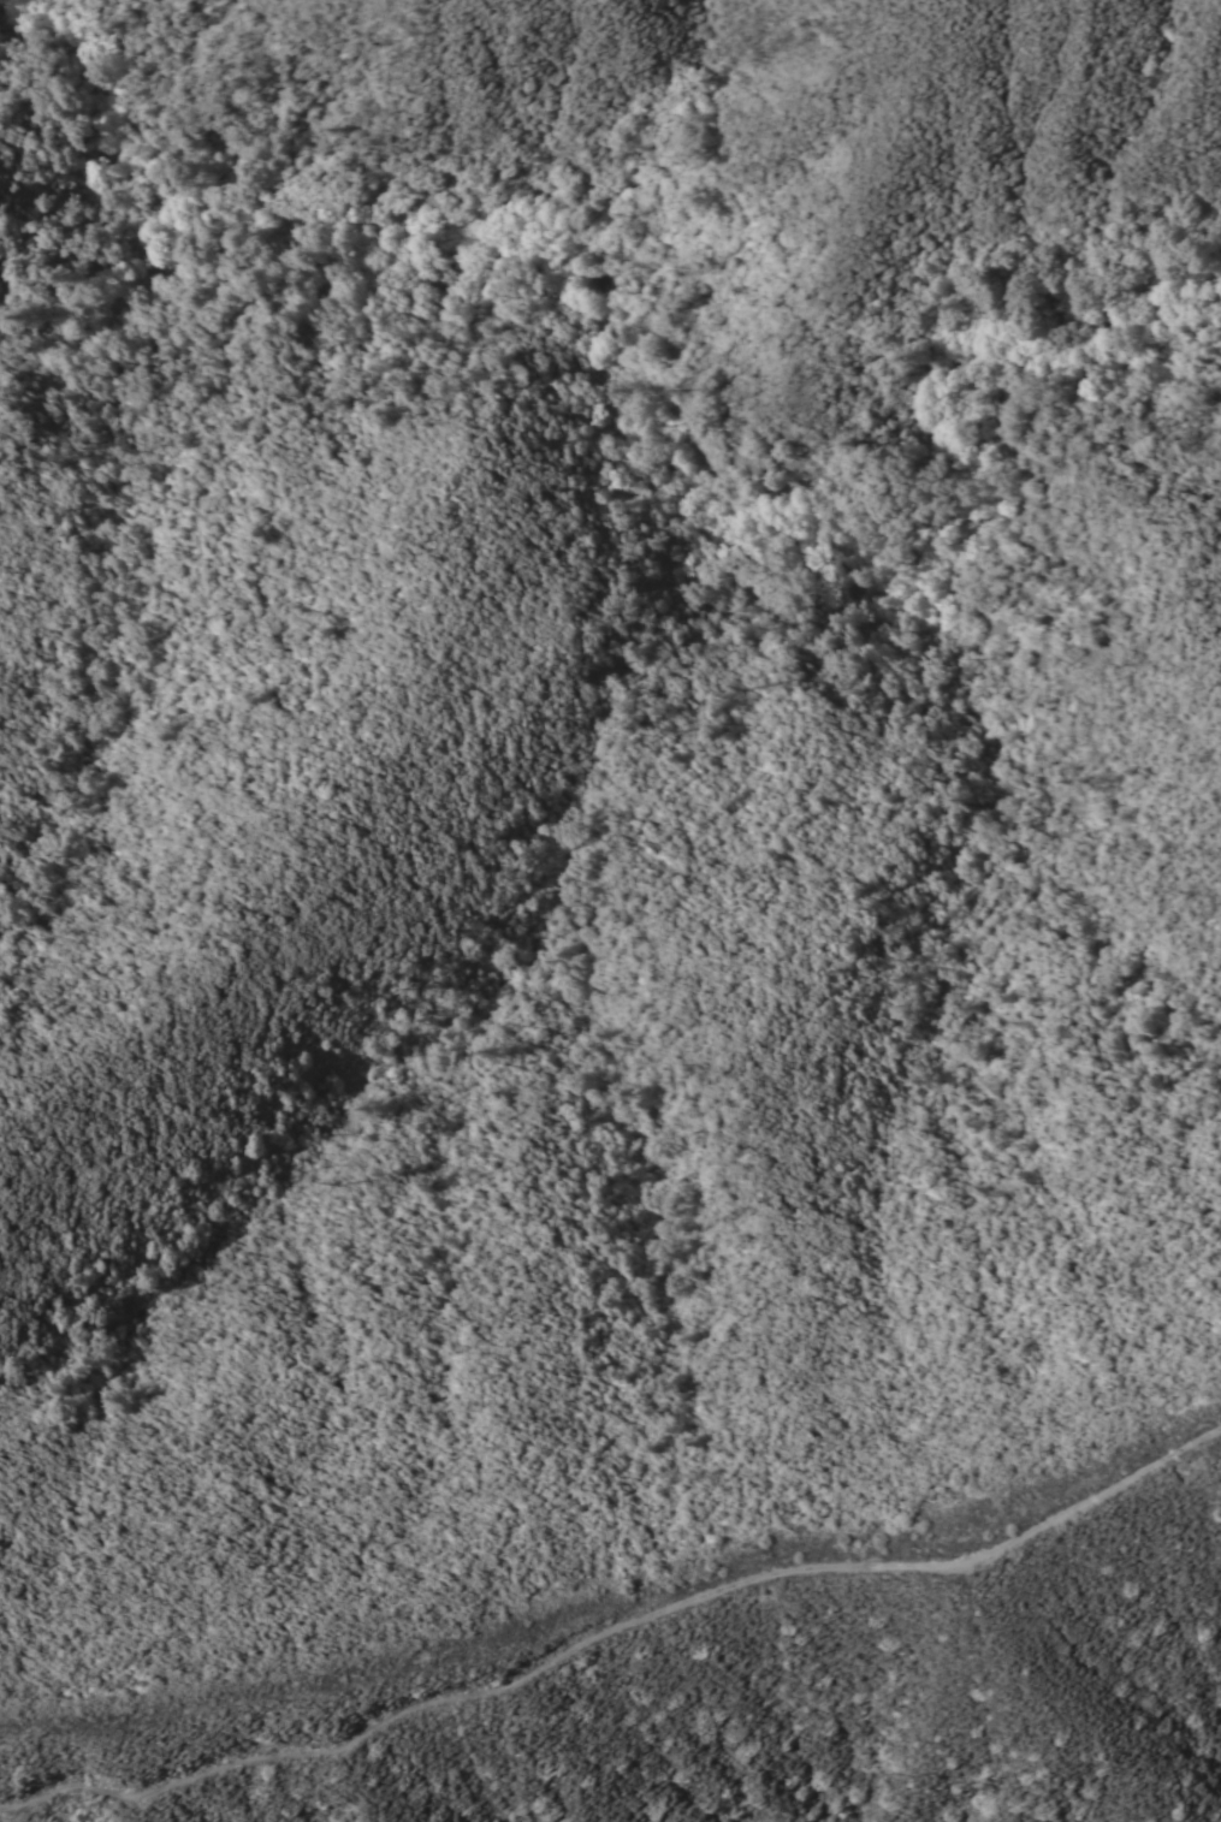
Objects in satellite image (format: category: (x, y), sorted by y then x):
road: (610, 1639)

